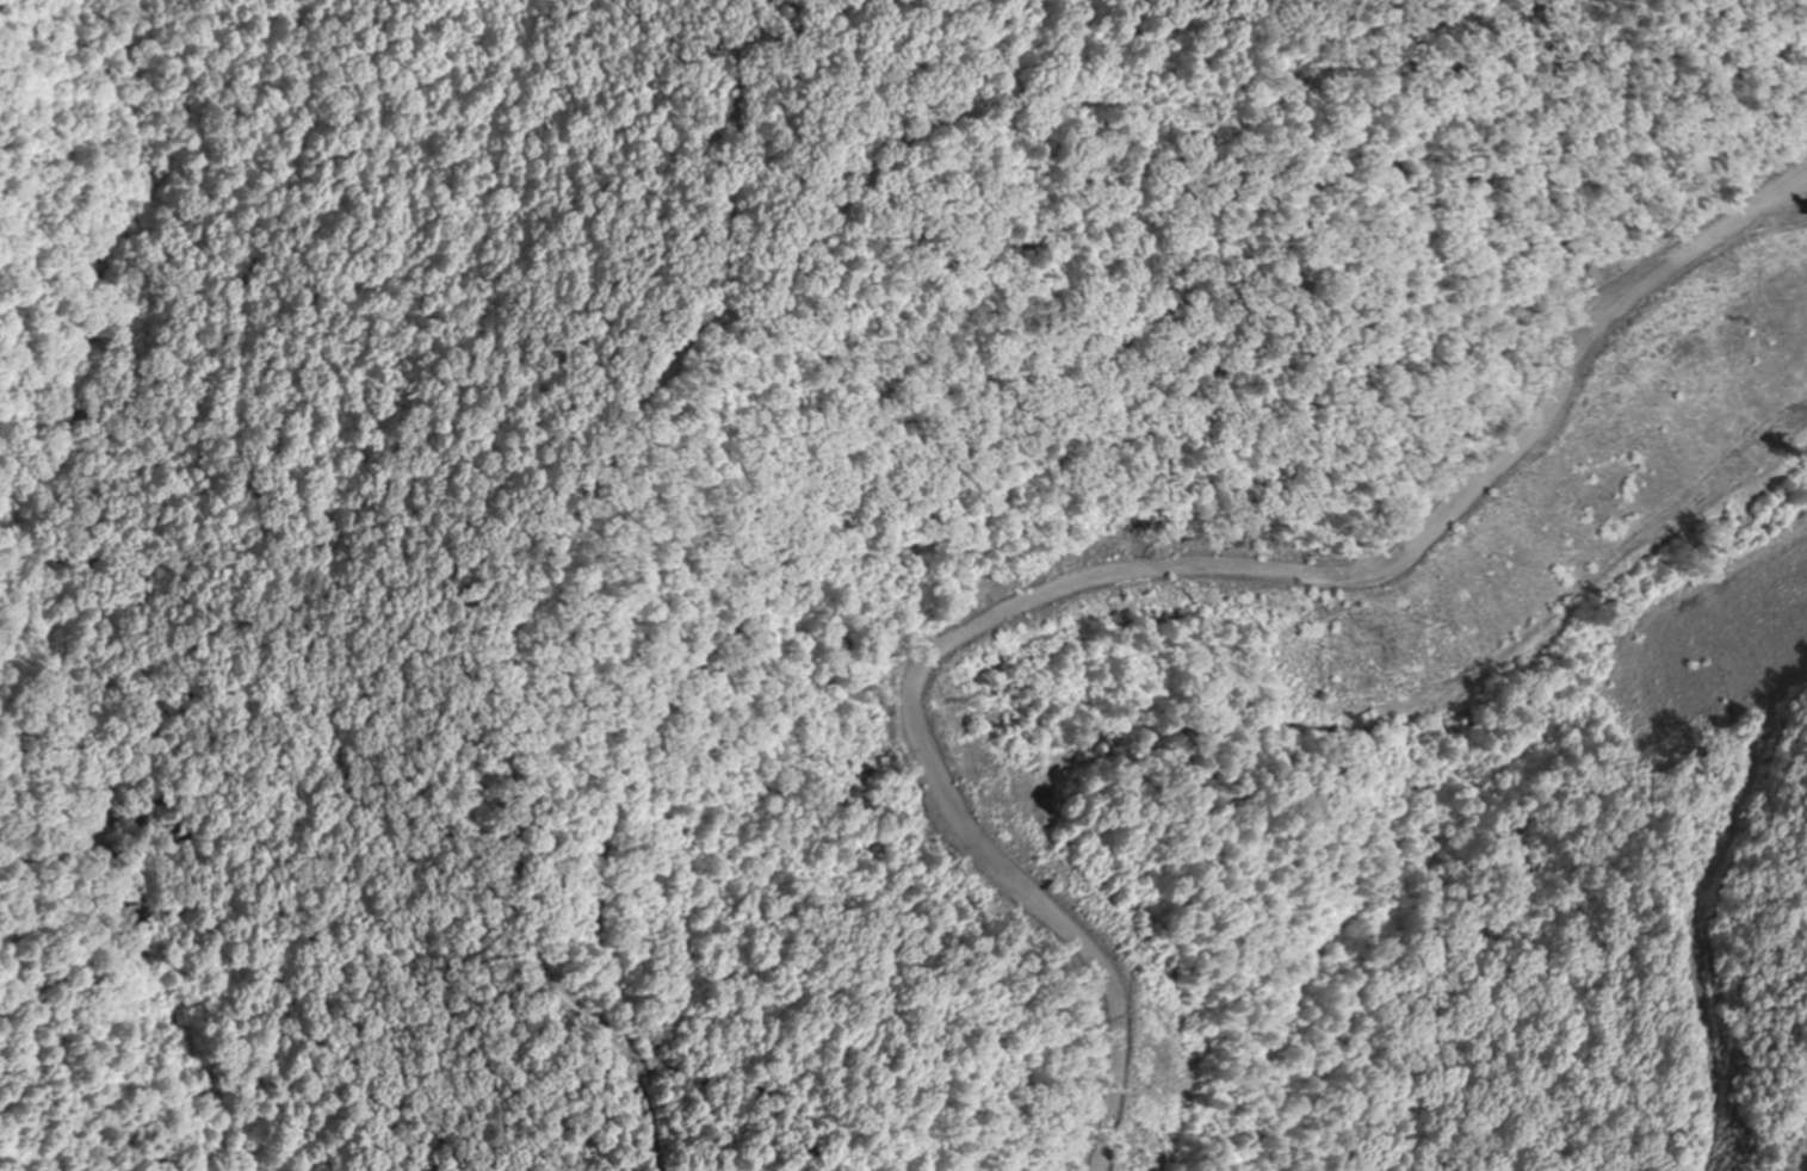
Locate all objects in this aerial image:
road: (1002, 519)
road: (550, 568)

